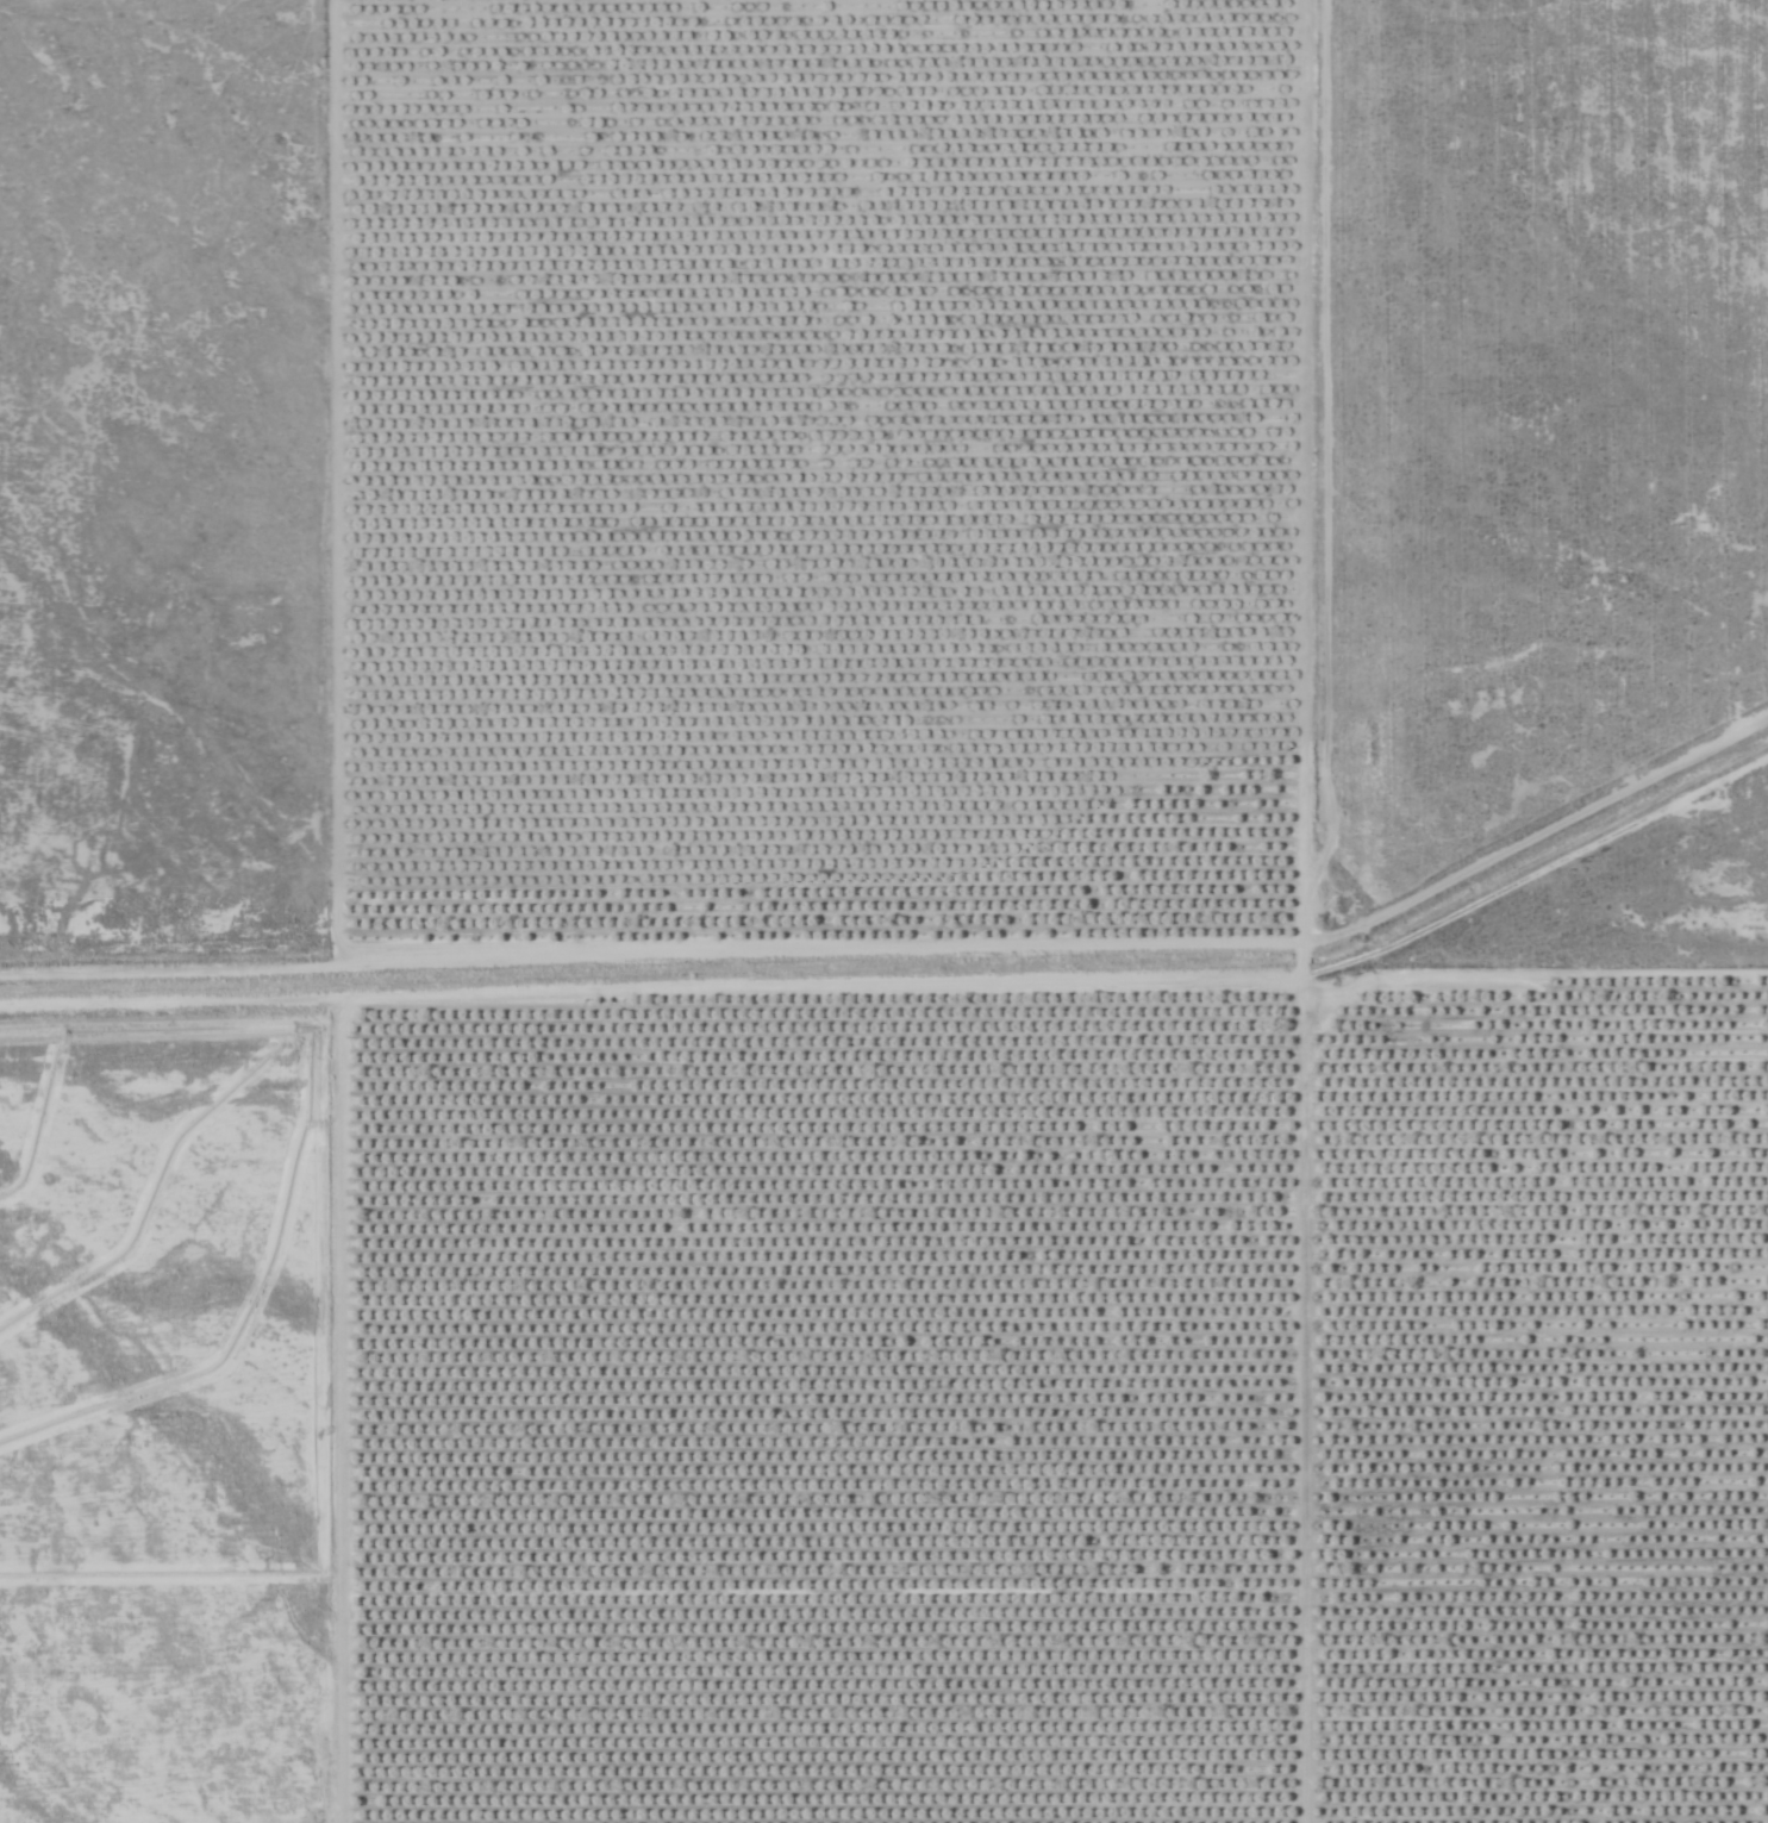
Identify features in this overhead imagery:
crop: (952, 998)
building: (892, 1307)
building: (991, 1623)

